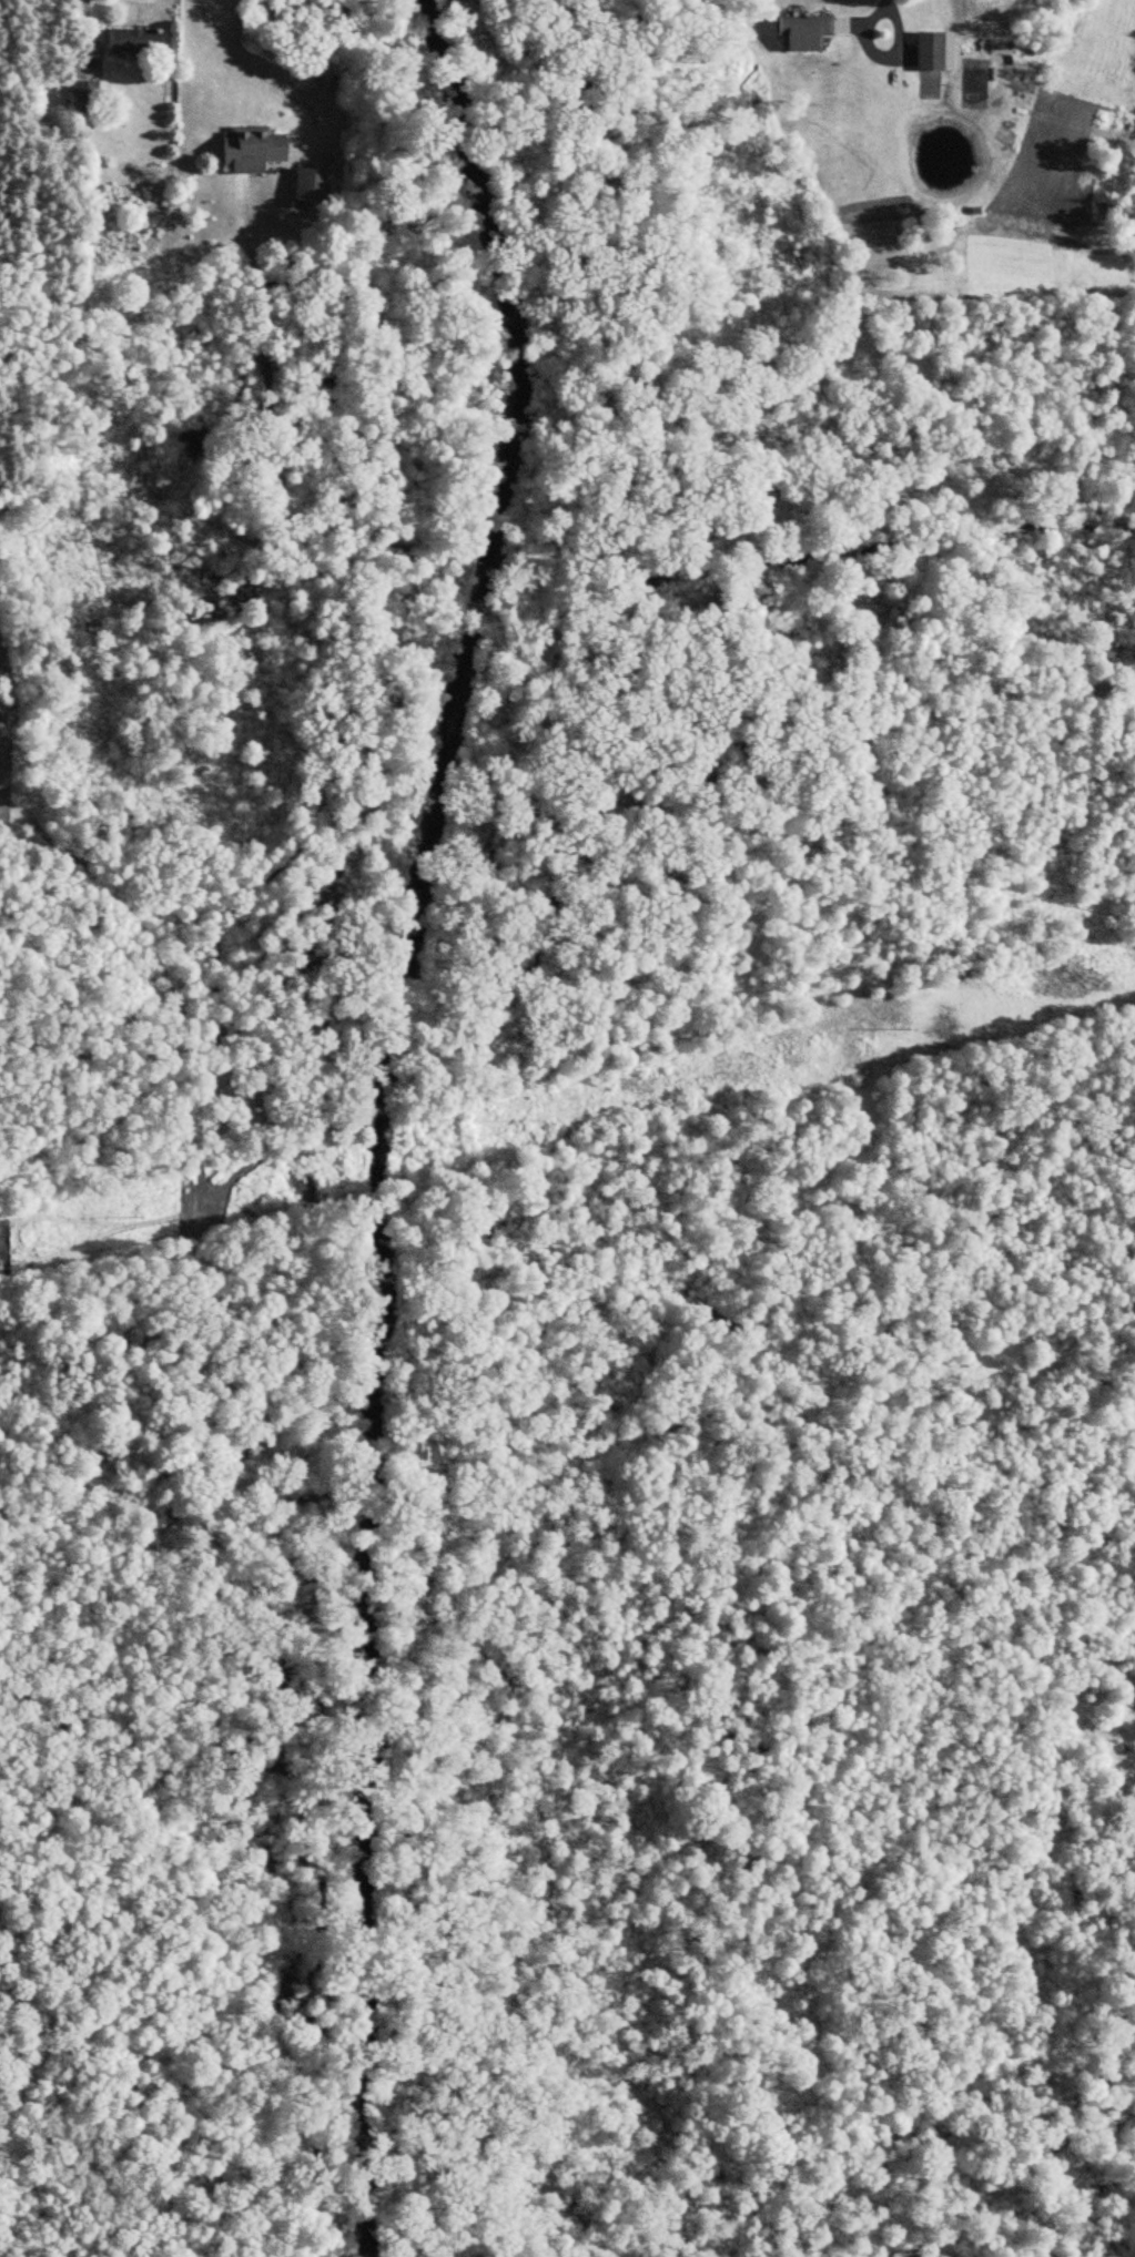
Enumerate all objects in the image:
road: (886, 2)
road: (80, 23)
building: (799, 31)
building: (130, 39)
building: (925, 50)
road: (879, 51)
road: (272, 75)
building: (87, 102)
building: (246, 148)
building: (305, 186)
road: (417, 1119)
road: (890, 2239)

